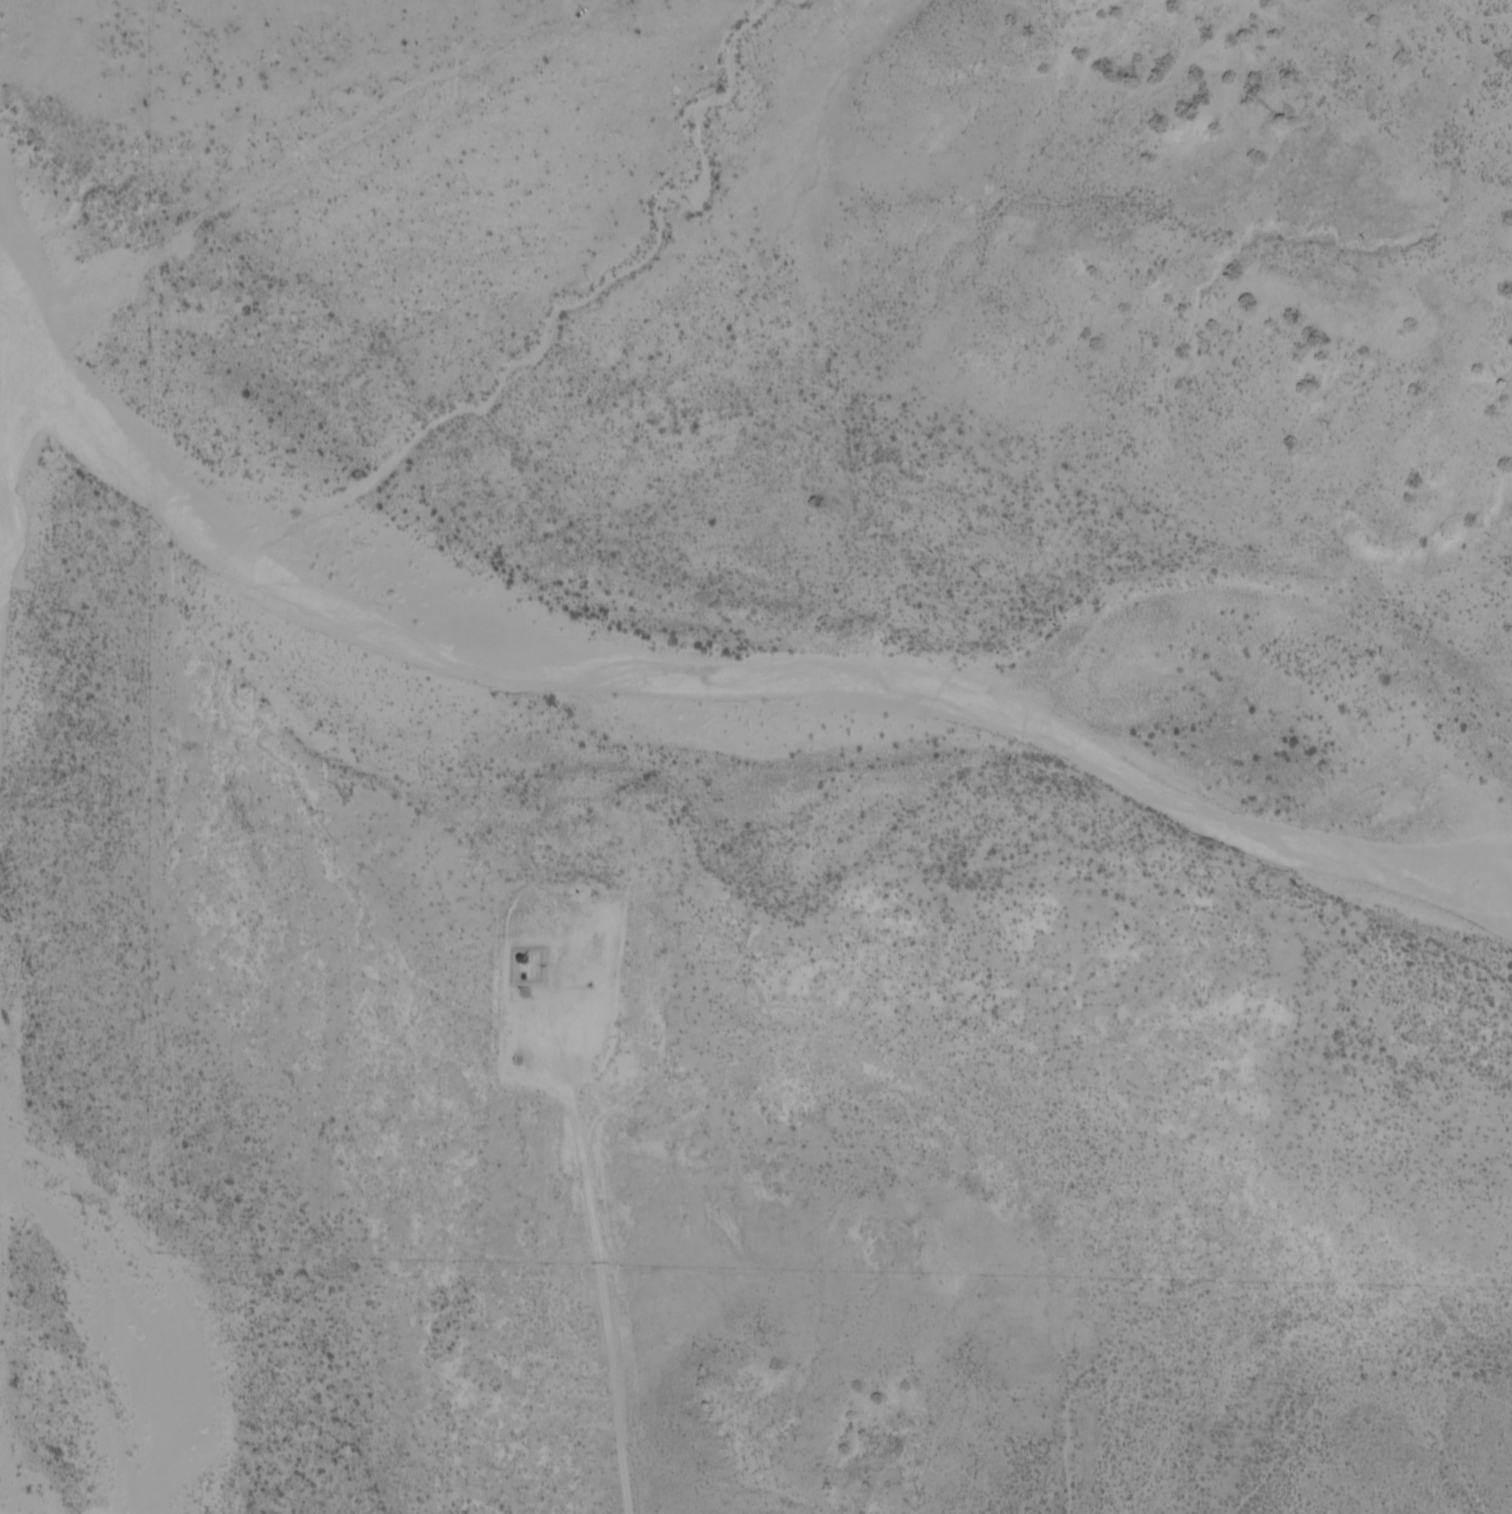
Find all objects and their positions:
river: (8, 466)
river: (688, 671)
river: (10, 1199)

